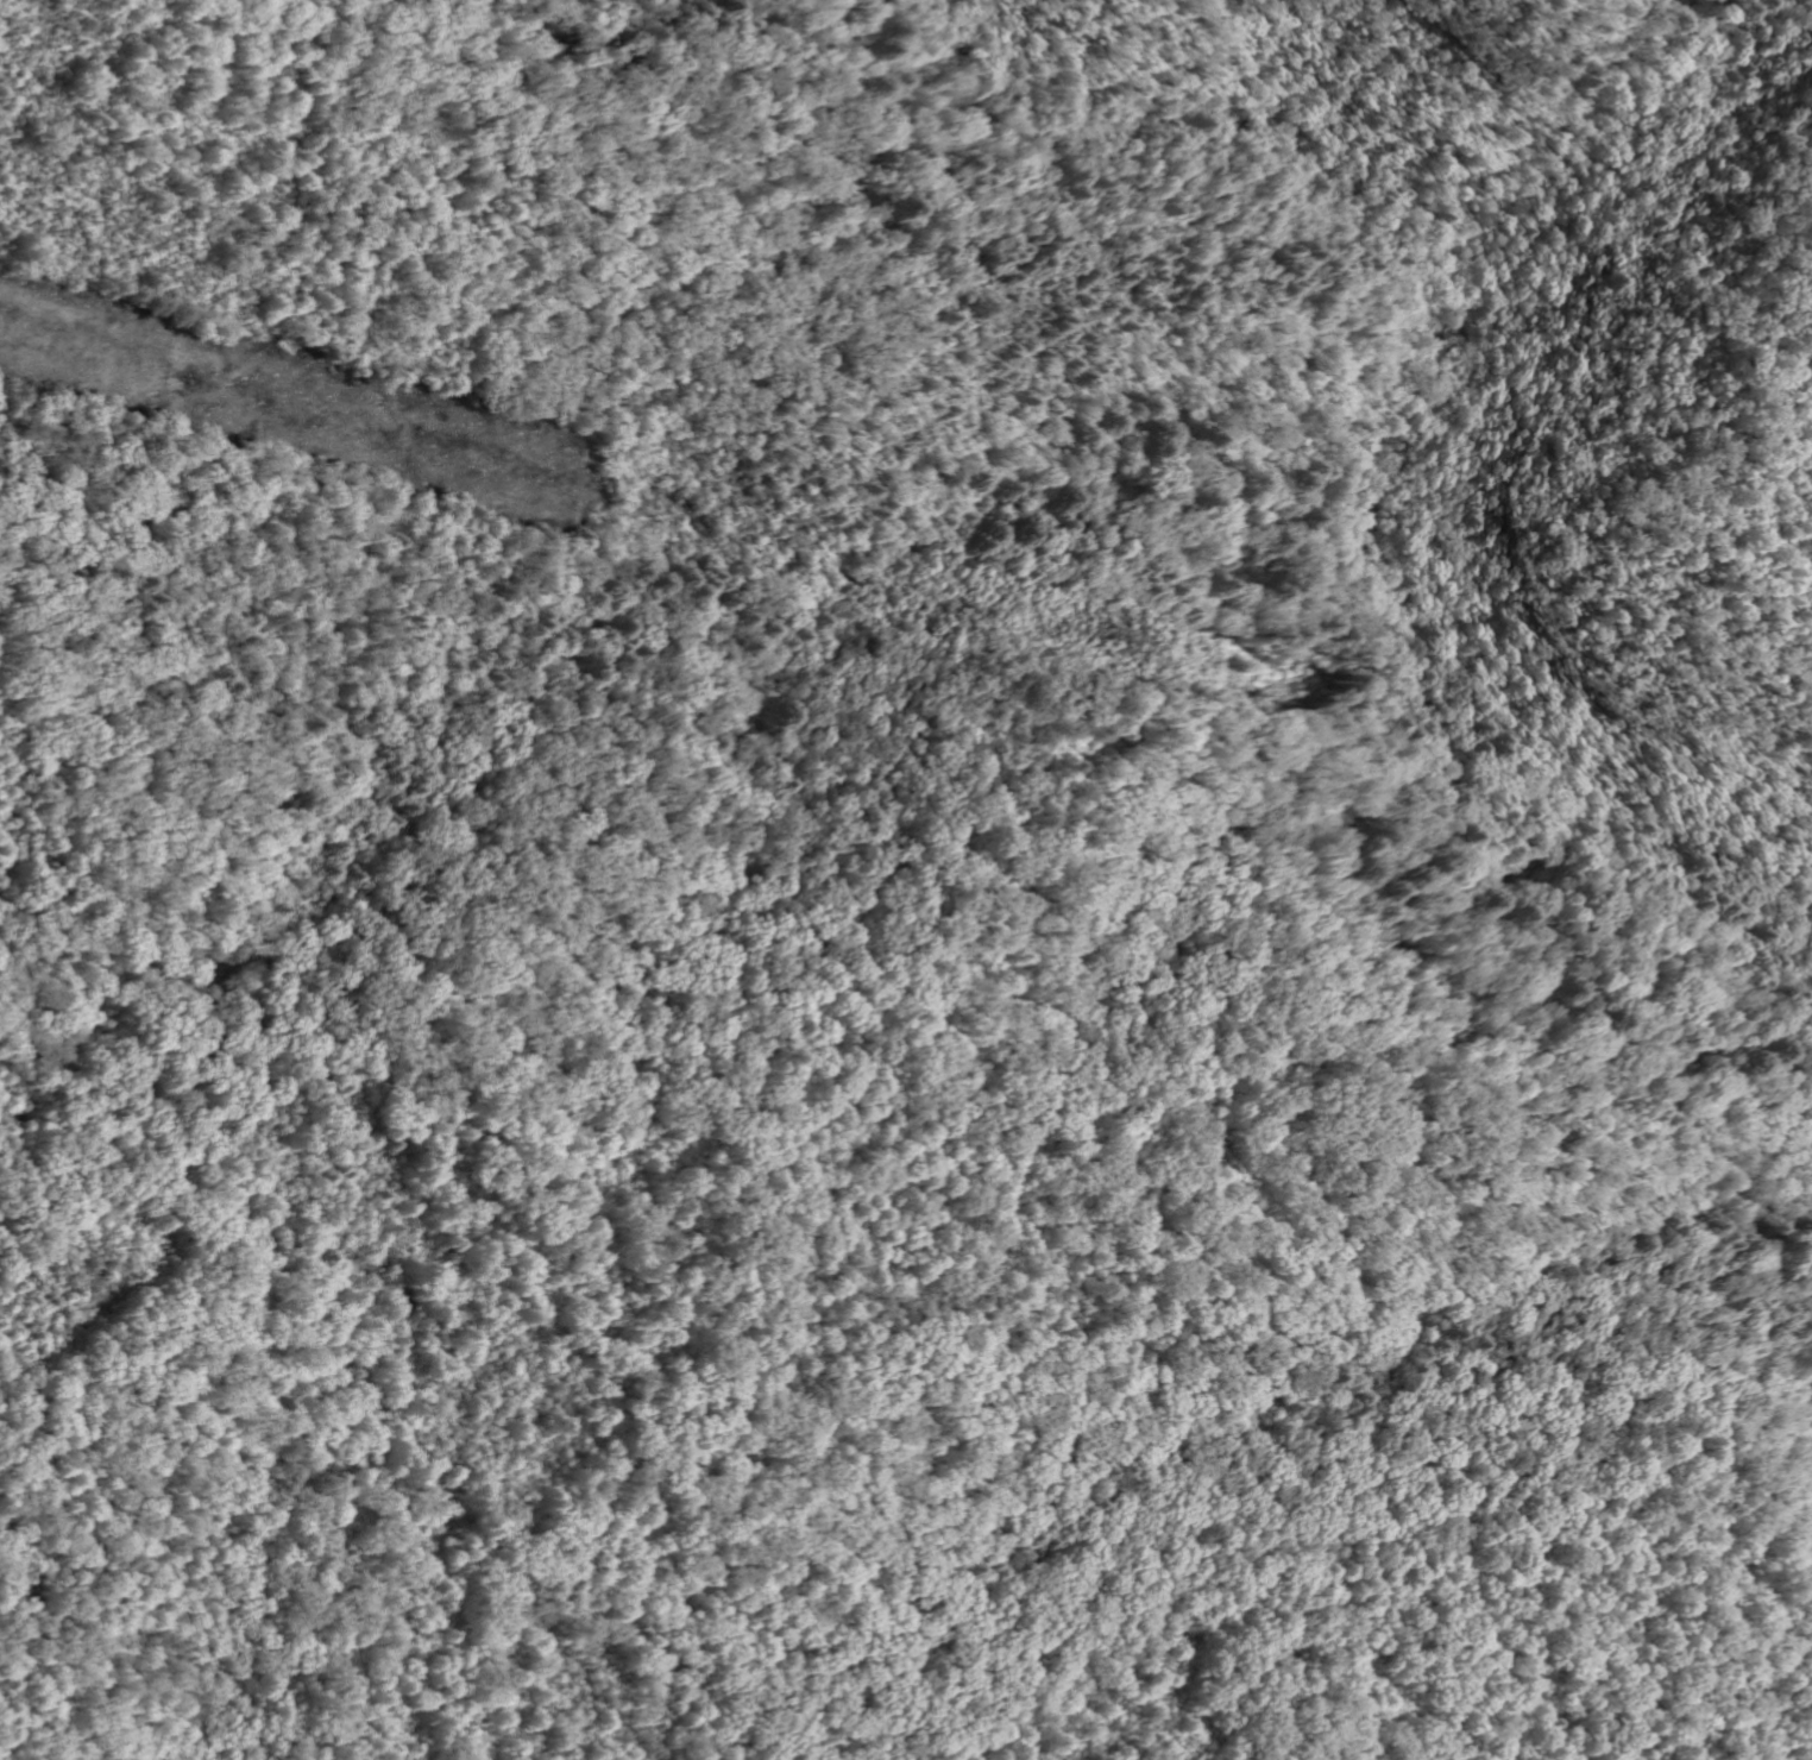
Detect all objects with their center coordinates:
road: (363, 1378)

